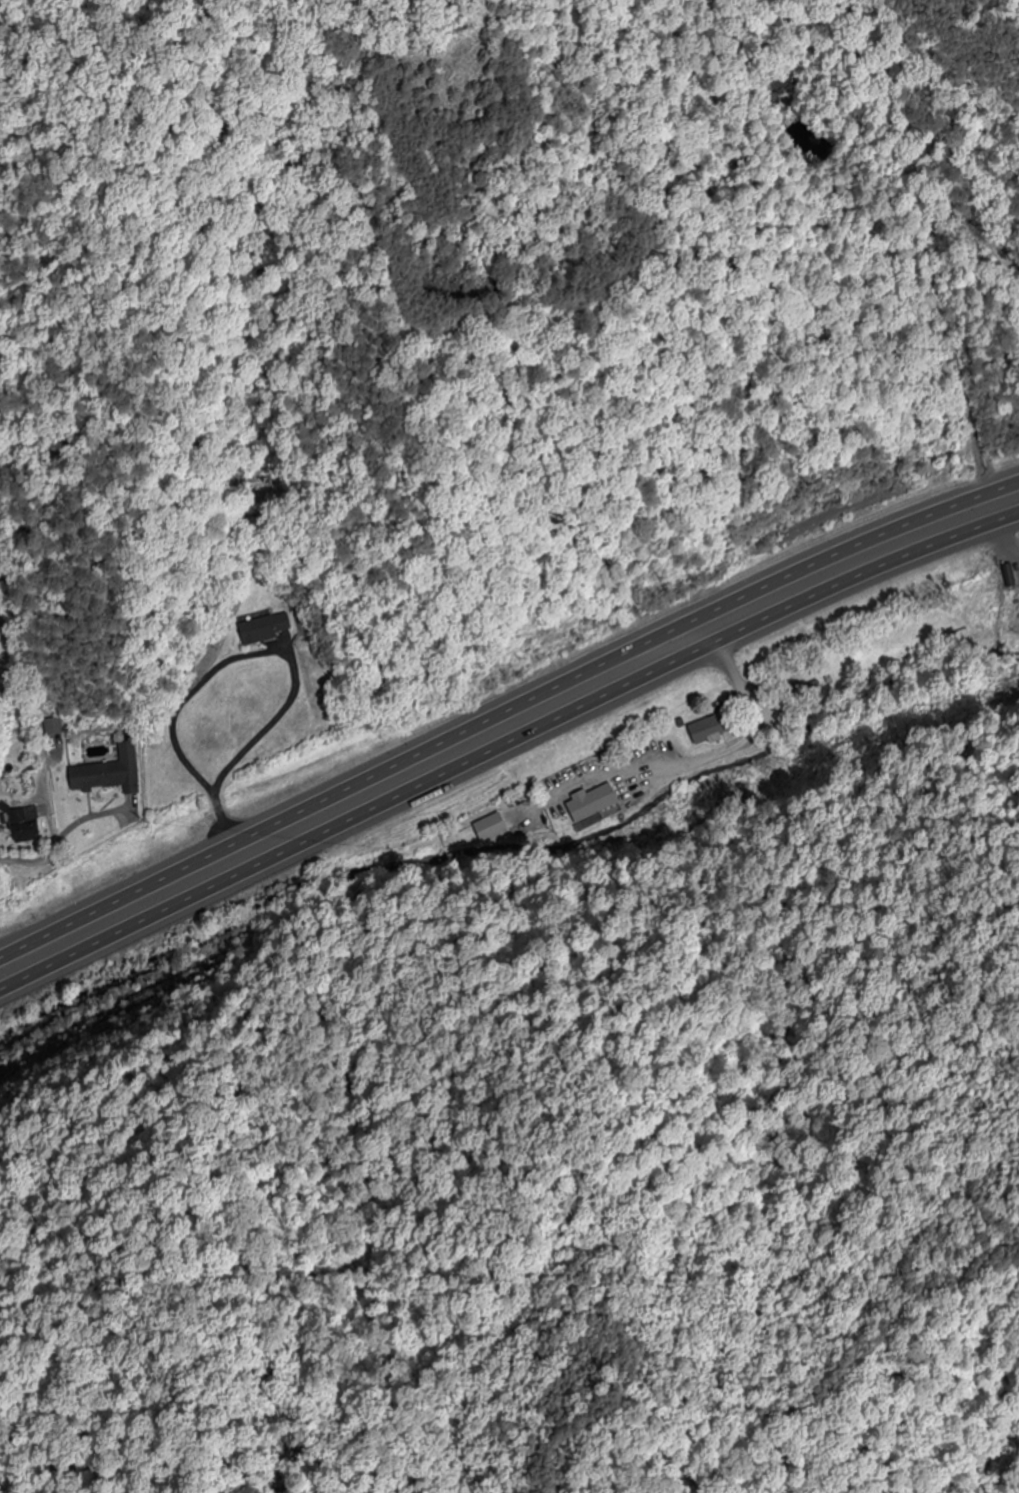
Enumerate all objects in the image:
building: (268, 629)
road: (504, 714)
building: (715, 730)
road: (505, 745)
building: (129, 766)
building: (98, 777)
building: (594, 803)
building: (27, 826)

